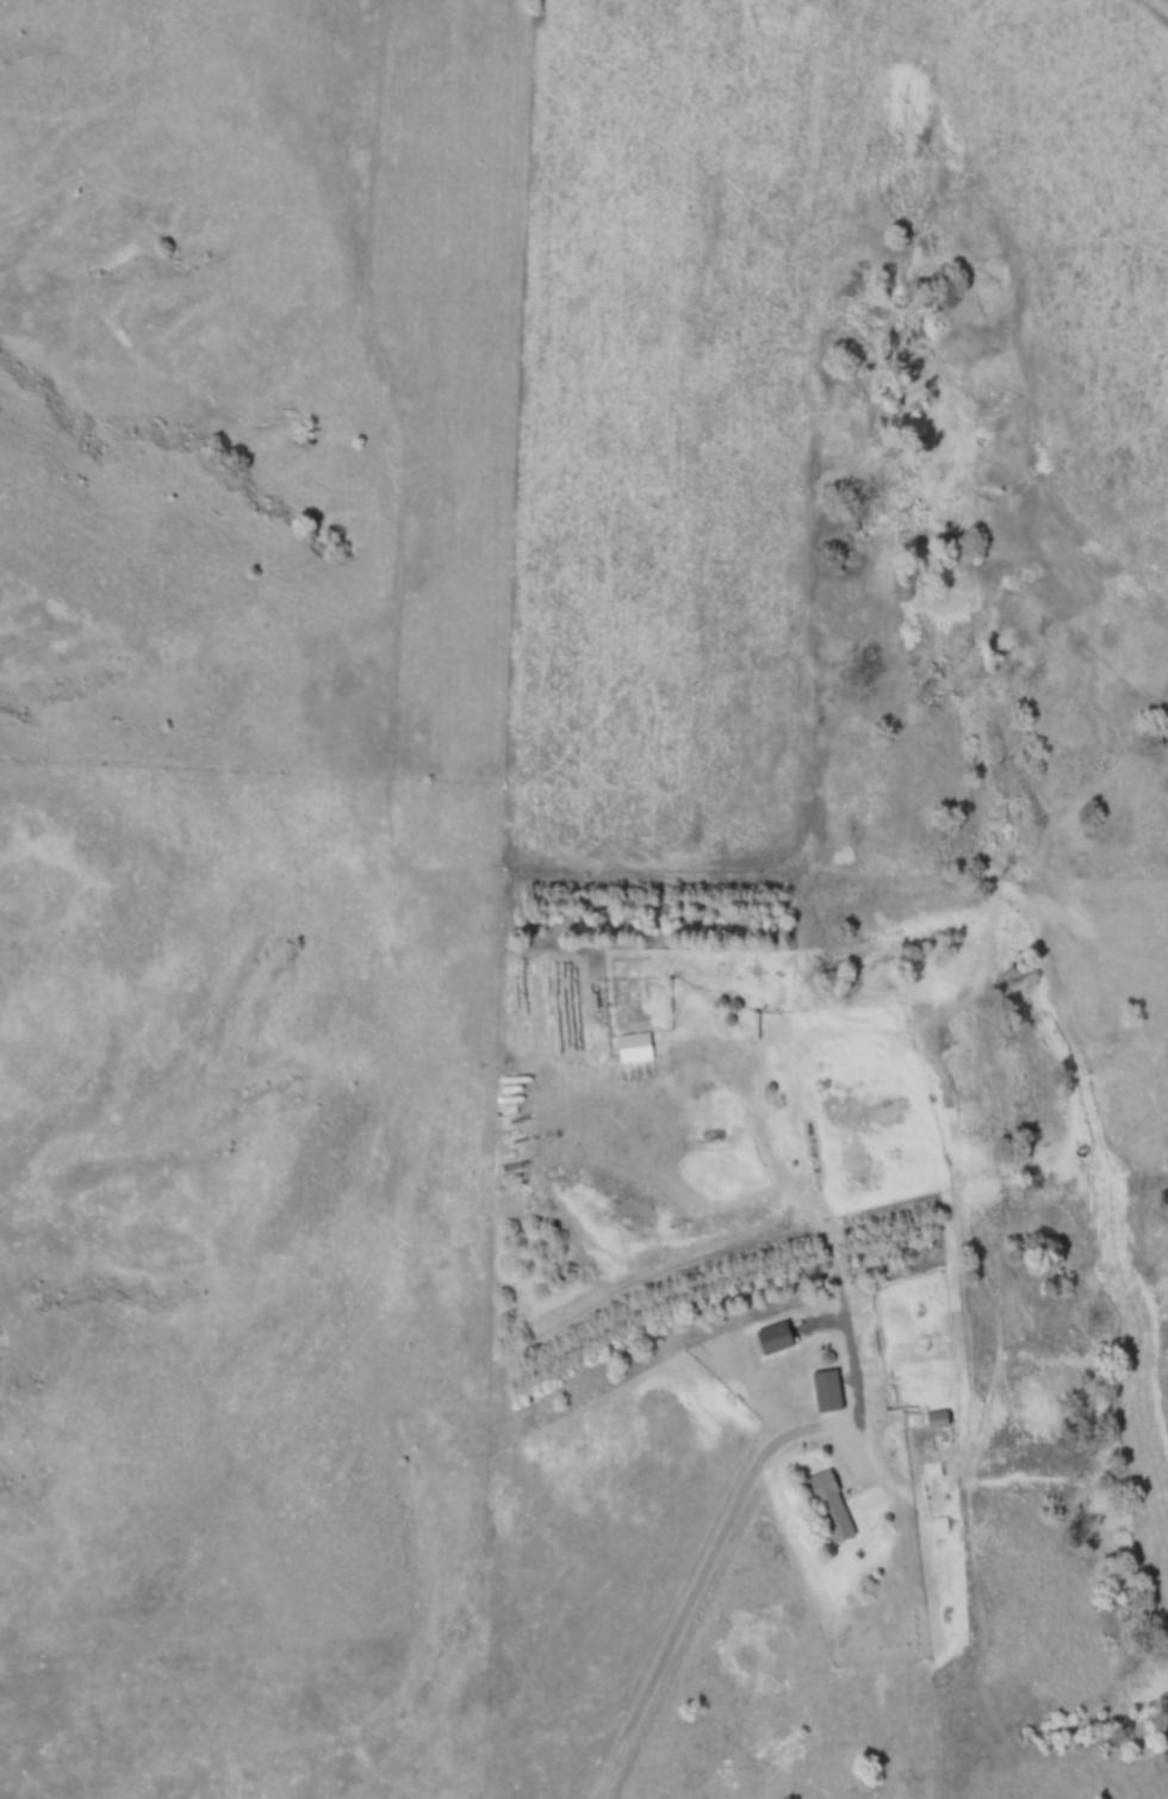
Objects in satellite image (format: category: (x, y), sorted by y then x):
airport: (1160, 6)
building: (825, 1391)
building: (933, 1420)
building: (827, 1508)
road: (703, 1569)

